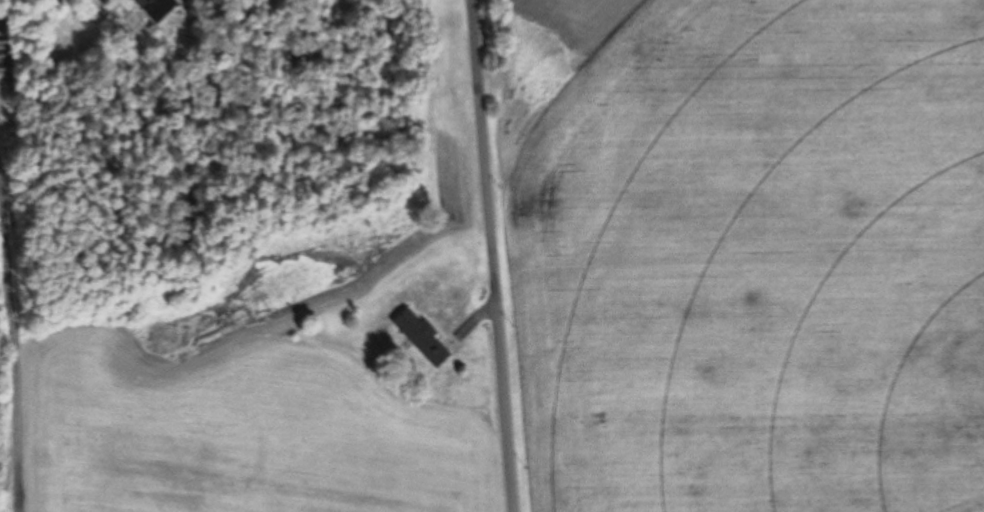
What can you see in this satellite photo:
building: (208, 2)
building: (157, 8)
road: (498, 256)
building: (422, 338)

